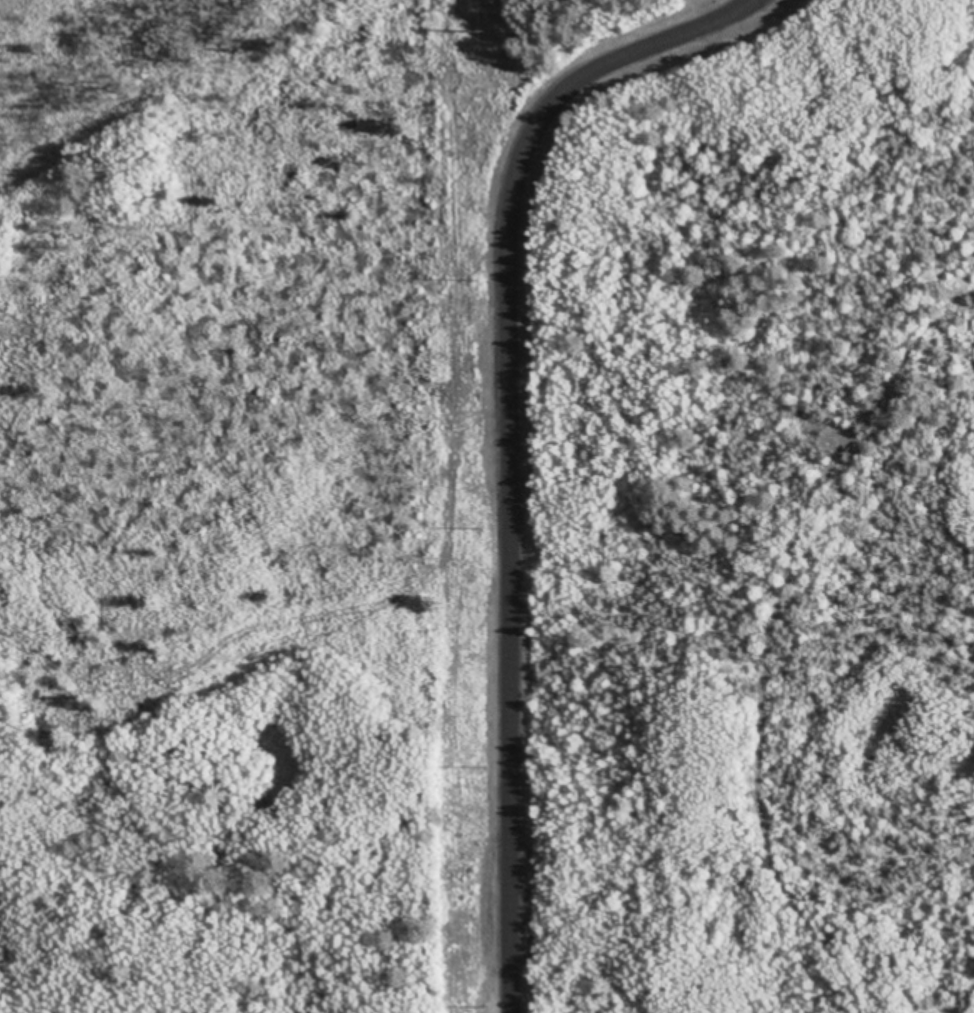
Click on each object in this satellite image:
road: (480, 424)

